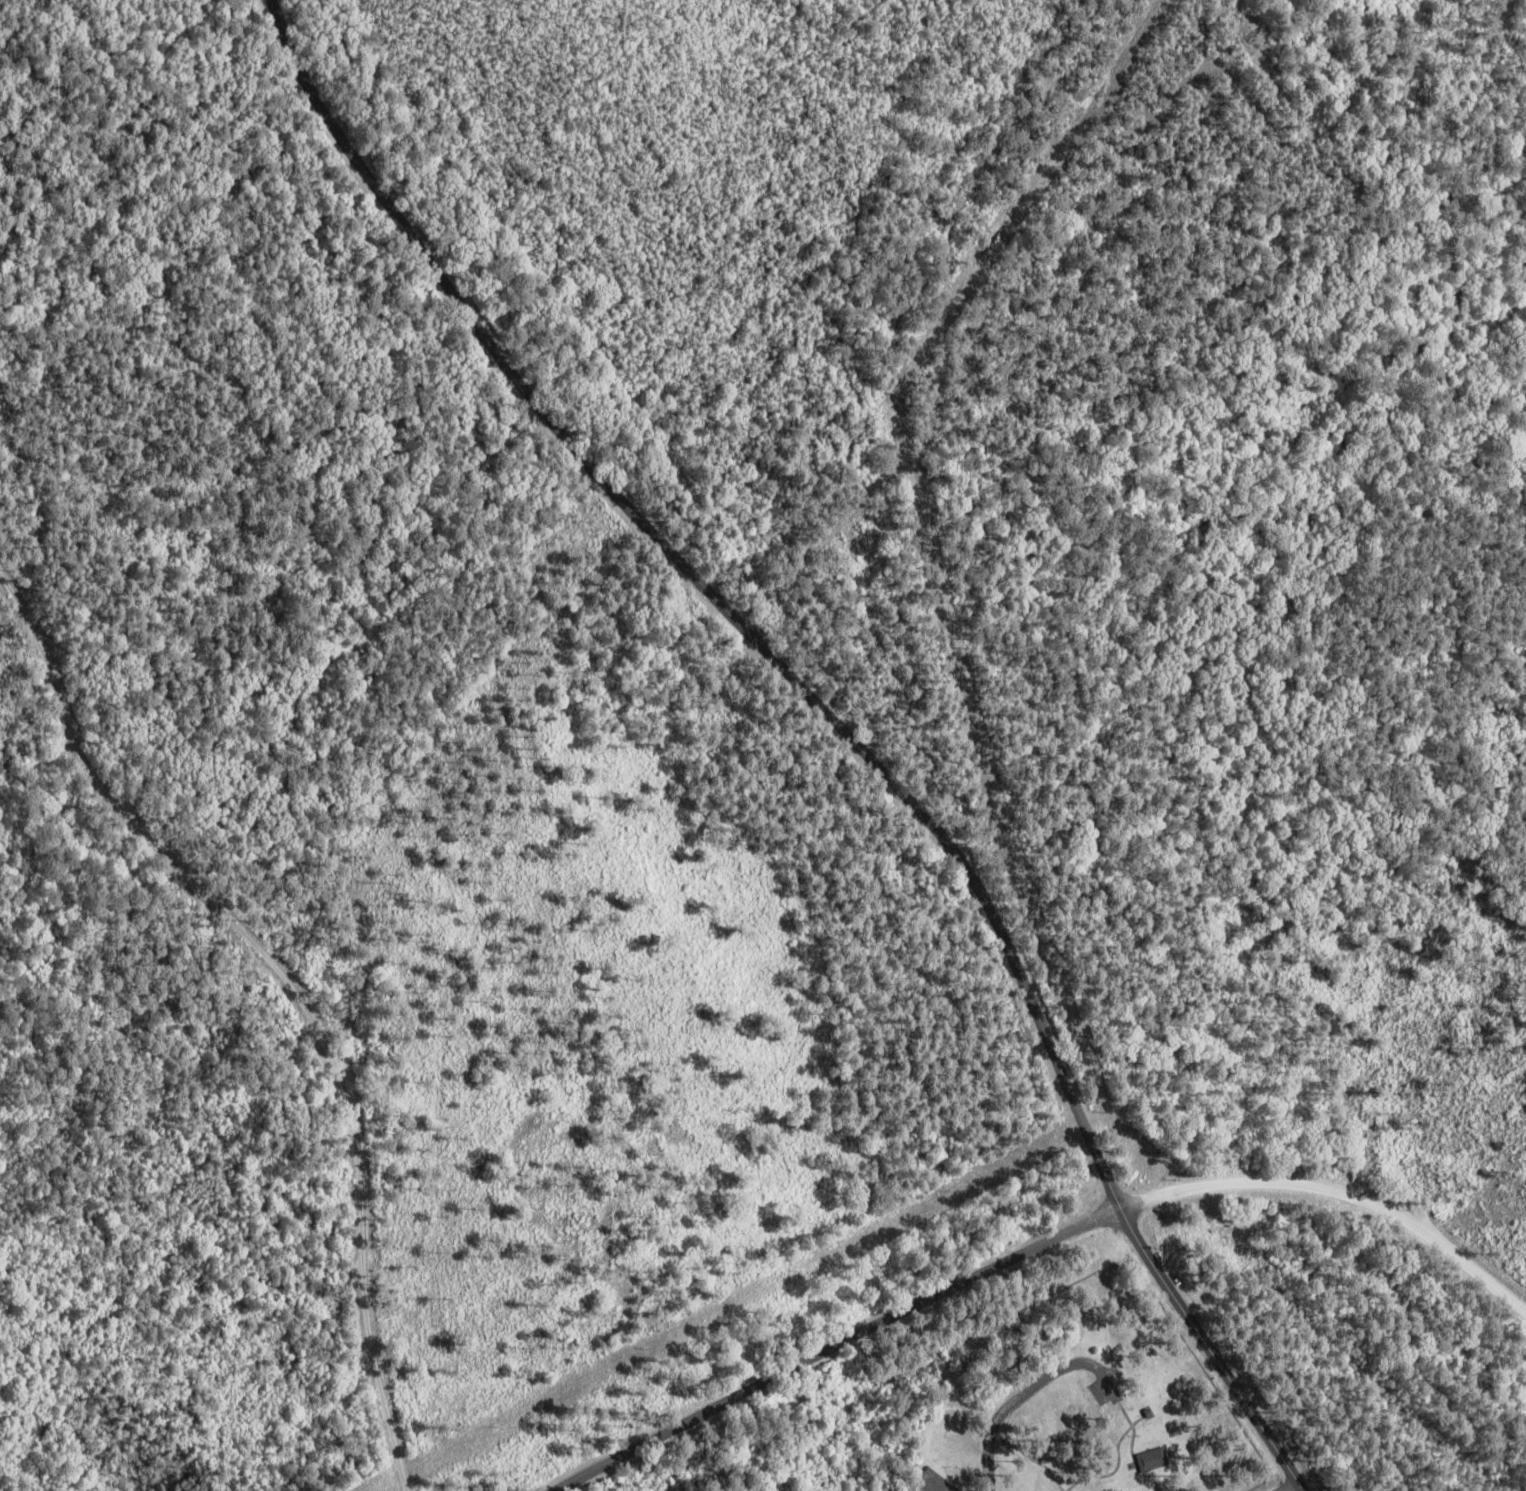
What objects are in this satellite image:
road: (944, 577)
road: (824, 729)
road: (295, 990)
road: (1346, 1194)
road: (842, 1346)
road: (1025, 1393)
park: (1029, 1413)
building: (1158, 1461)
road: (944, 1480)
road: (1307, 1489)

